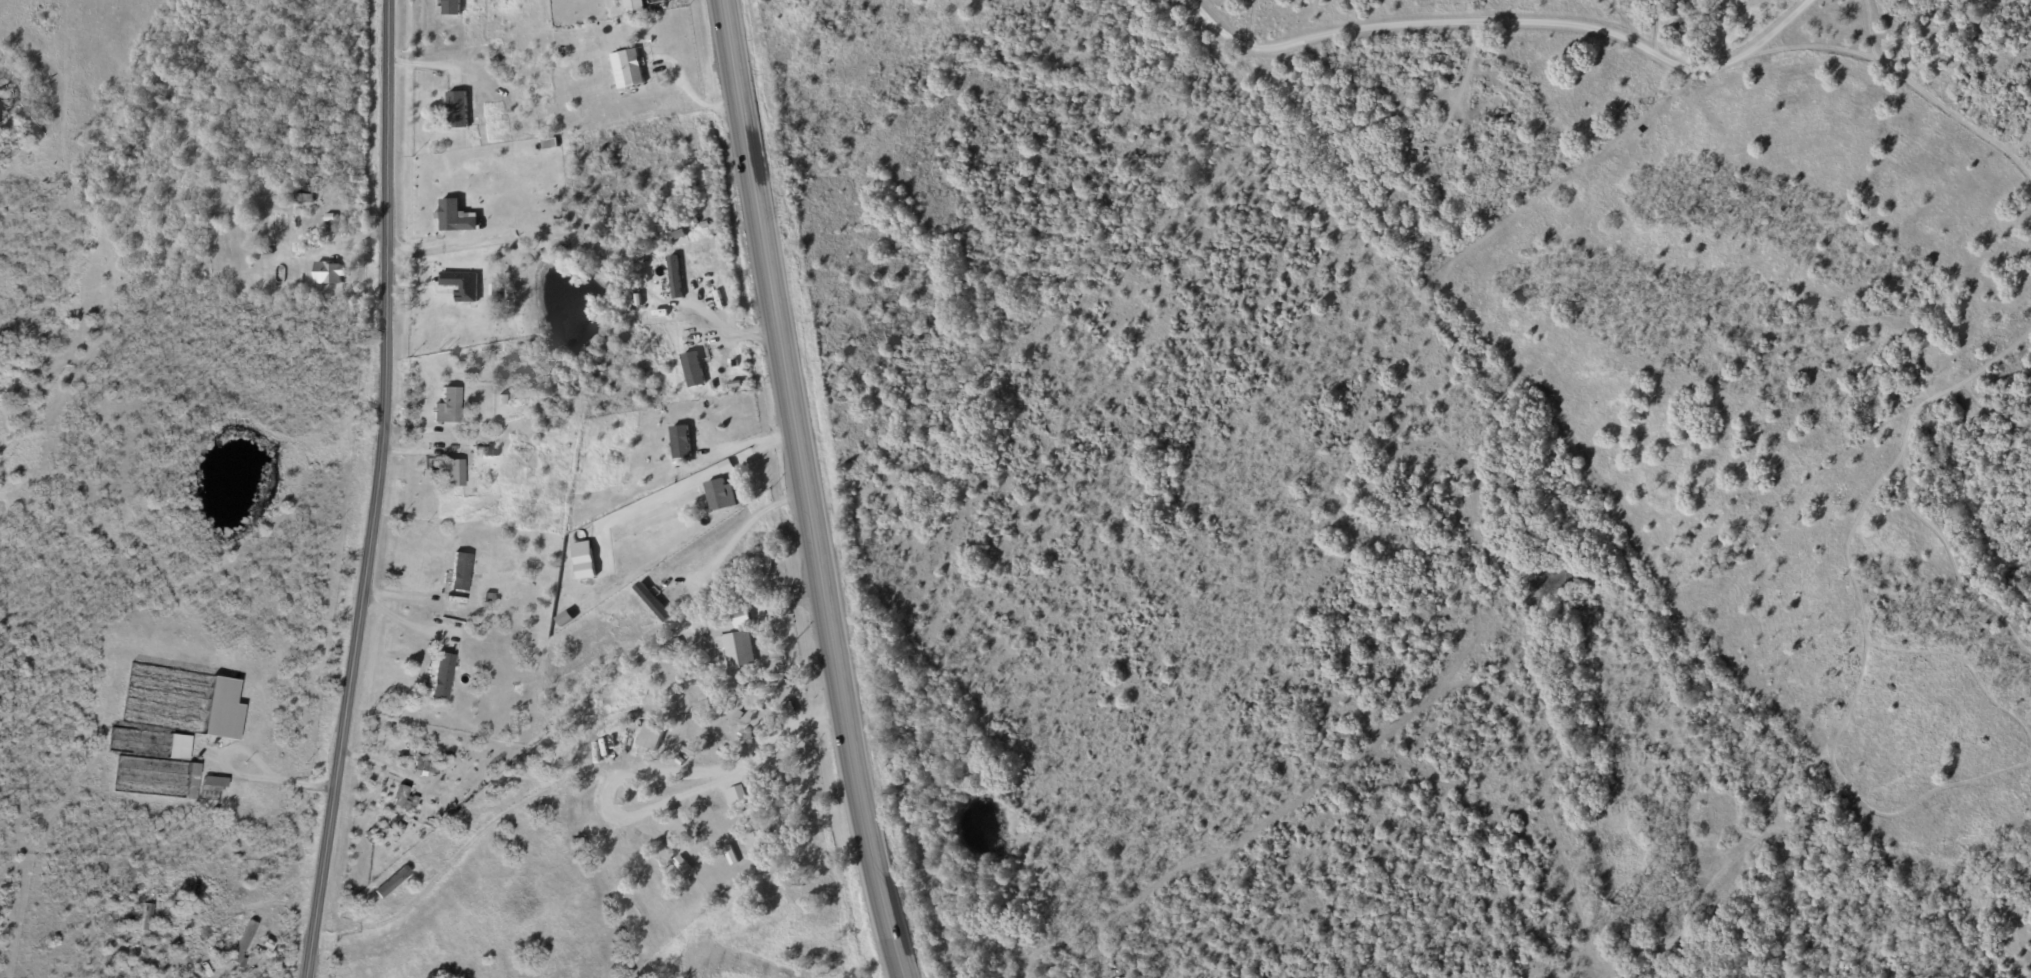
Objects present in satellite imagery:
building: (633, 5)
building: (452, 7)
road: (1495, 26)
road: (1719, 30)
building: (632, 67)
road: (1895, 78)
building: (457, 109)
building: (549, 143)
building: (455, 216)
building: (328, 273)
building: (674, 276)
building: (461, 284)
building: (493, 293)
building: (693, 369)
building: (448, 405)
building: (681, 441)
building: (720, 468)
building: (455, 472)
road: (804, 490)
road: (376, 491)
building: (720, 495)
road: (740, 529)
building: (584, 560)
building: (460, 571)
building: (652, 602)
building: (740, 617)
road: (400, 619)
building: (736, 648)
building: (442, 675)
building: (223, 709)
building: (651, 736)
building: (179, 746)
road: (381, 759)
building: (423, 765)
road: (737, 768)
road: (241, 775)
building: (192, 780)
building: (213, 783)
building: (740, 793)
building: (400, 797)
road: (646, 809)
building: (666, 843)
building: (740, 847)
road: (463, 848)
building: (682, 864)
building: (146, 916)
building: (242, 942)

